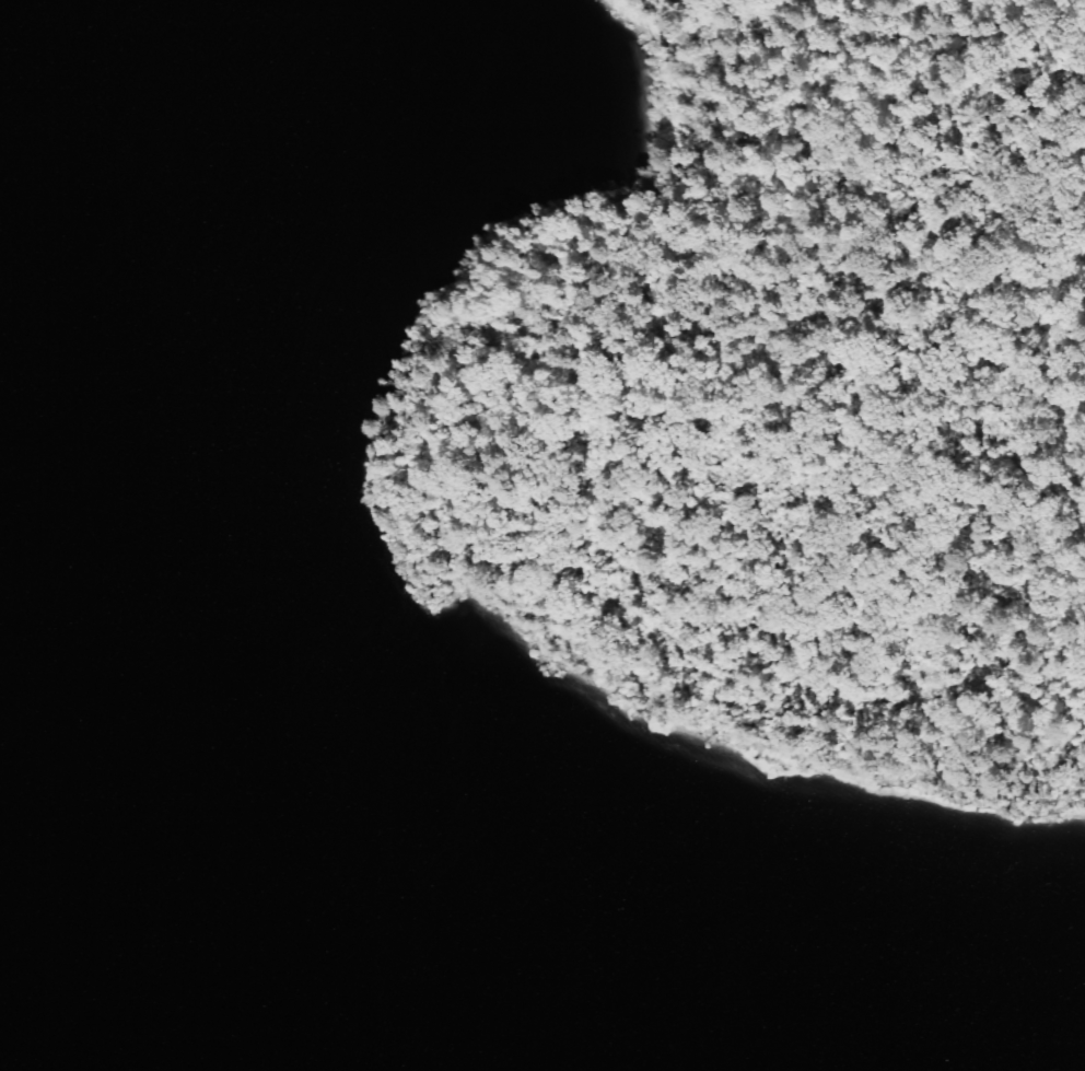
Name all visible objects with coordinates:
road: (932, 255)

